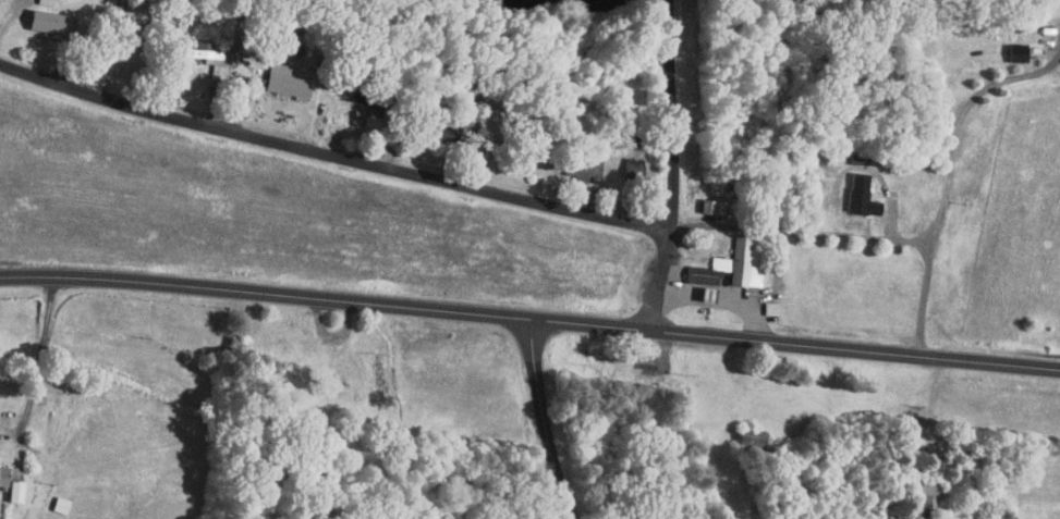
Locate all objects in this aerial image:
building: (120, 7)
building: (33, 14)
building: (1004, 46)
building: (203, 52)
building: (272, 75)
road: (330, 148)
building: (620, 163)
road: (665, 164)
road: (950, 171)
building: (848, 189)
road: (801, 230)
building: (729, 255)
building: (689, 268)
road: (529, 317)
road: (39, 351)
road: (544, 420)
building: (4, 484)
building: (912, 489)

